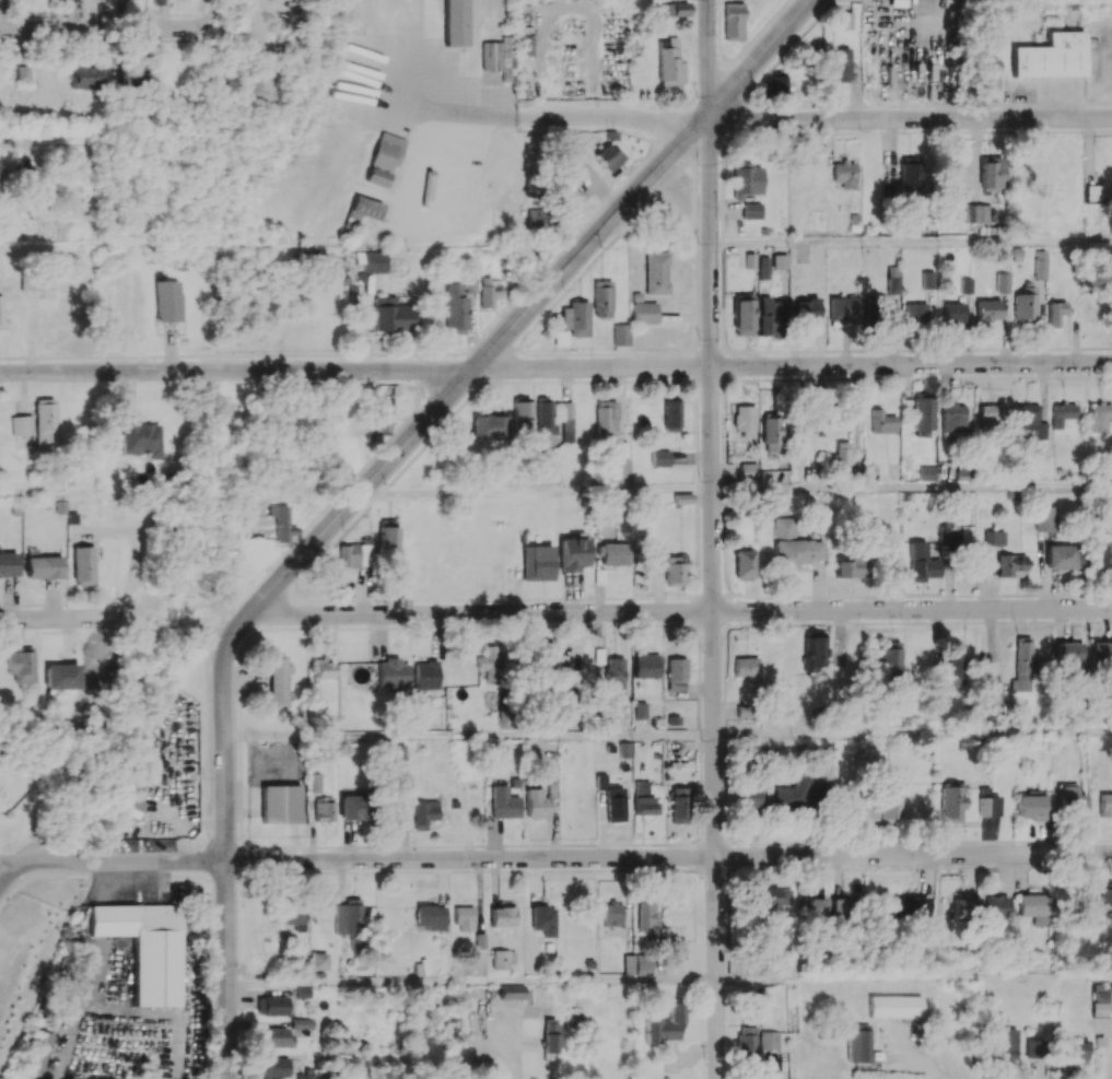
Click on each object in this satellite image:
building: (157, 1)
building: (675, 9)
road: (210, 10)
building: (842, 20)
building: (733, 21)
building: (456, 22)
road: (102, 25)
building: (525, 45)
building: (1051, 56)
building: (499, 57)
road: (760, 58)
building: (669, 61)
building: (840, 64)
building: (23, 73)
building: (991, 73)
building: (86, 74)
building: (131, 74)
building: (775, 83)
road: (583, 118)
road: (909, 118)
road: (34, 134)
building: (387, 150)
building: (608, 156)
building: (26, 165)
building: (910, 173)
building: (992, 173)
building: (845, 174)
building: (949, 174)
building: (376, 176)
building: (747, 178)
building: (1093, 191)
building: (751, 210)
building: (362, 211)
building: (978, 213)
building: (536, 218)
road: (588, 242)
road: (911, 243)
building: (373, 261)
building: (779, 261)
building: (1041, 263)
building: (764, 267)
building: (656, 272)
building: (740, 279)
building: (892, 279)
building: (927, 280)
building: (1003, 282)
building: (36, 284)
building: (470, 284)
building: (967, 285)
building: (490, 291)
building: (602, 298)
building: (167, 301)
building: (121, 303)
building: (879, 303)
building: (1026, 304)
building: (456, 308)
building: (843, 308)
building: (988, 310)
building: (1, 312)
building: (644, 313)
building: (806, 313)
building: (914, 313)
building: (1056, 313)
building: (953, 314)
building: (393, 315)
building: (744, 315)
building: (770, 316)
building: (575, 318)
building: (621, 333)
road: (792, 365)
road: (235, 371)
building: (1063, 413)
building: (384, 414)
building: (522, 414)
building: (671, 414)
building: (990, 415)
building: (545, 417)
building: (606, 417)
building: (924, 417)
building: (1100, 418)
building: (745, 419)
building: (952, 419)
building: (1031, 419)
building: (811, 420)
building: (567, 421)
building: (45, 422)
building: (882, 422)
building: (22, 424)
building: (489, 426)
building: (771, 433)
building: (140, 437)
building: (619, 449)
building: (660, 458)
building: (840, 458)
building: (620, 470)
building: (748, 471)
building: (928, 472)
road: (365, 488)
road: (912, 488)
road: (634, 490)
building: (1045, 518)
building: (282, 524)
building: (950, 536)
building: (387, 537)
building: (994, 538)
road: (712, 539)
building: (794, 544)
building: (573, 551)
building: (354, 554)
building: (609, 555)
building: (1061, 556)
building: (538, 562)
building: (923, 562)
building: (745, 564)
building: (83, 565)
building: (44, 566)
building: (850, 566)
building: (1011, 566)
building: (9, 570)
building: (672, 571)
road: (131, 573)
road: (683, 611)
road: (57, 615)
building: (1101, 653)
building: (545, 654)
building: (815, 654)
building: (1072, 656)
building: (890, 658)
building: (956, 659)
building: (492, 661)
building: (21, 664)
building: (646, 665)
building: (1022, 665)
building: (745, 666)
building: (321, 668)
building: (393, 672)
building: (676, 673)
building: (425, 675)
building: (617, 675)
building: (61, 676)
building: (277, 681)
building: (994, 691)
building: (640, 709)
road: (913, 732)
road: (468, 736)
building: (314, 783)
building: (801, 793)
building: (747, 797)
building: (644, 798)
building: (612, 799)
building: (952, 799)
building: (890, 800)
building: (1073, 801)
building: (504, 802)
building: (280, 804)
building: (537, 804)
building: (1105, 804)
building: (678, 805)
building: (991, 806)
building: (130, 807)
building: (350, 807)
building: (862, 807)
building: (1031, 807)
building: (324, 808)
building: (423, 812)
road: (225, 835)
building: (121, 844)
building: (159, 844)
road: (668, 856)
road: (124, 860)
road: (11, 861)
road: (11, 873)
building: (1102, 898)
building: (769, 899)
building: (997, 905)
building: (912, 906)
building: (964, 906)
building: (845, 907)
building: (1037, 907)
building: (816, 908)
building: (612, 913)
building: (295, 916)
building: (349, 916)
building: (431, 916)
building: (503, 916)
building: (646, 916)
building: (465, 918)
building: (545, 919)
building: (147, 947)
building: (676, 948)
building: (319, 961)
building: (637, 964)
road: (914, 977)
road: (472, 983)
building: (512, 992)
building: (1101, 1002)
building: (272, 1005)
building: (894, 1006)
building: (302, 1023)
building: (665, 1024)
building: (552, 1035)
building: (273, 1036)
building: (769, 1040)
building: (746, 1041)
building: (1005, 1043)
building: (857, 1044)
building: (1032, 1047)
building: (1077, 1049)
building: (35, 1054)
building: (273, 1067)

